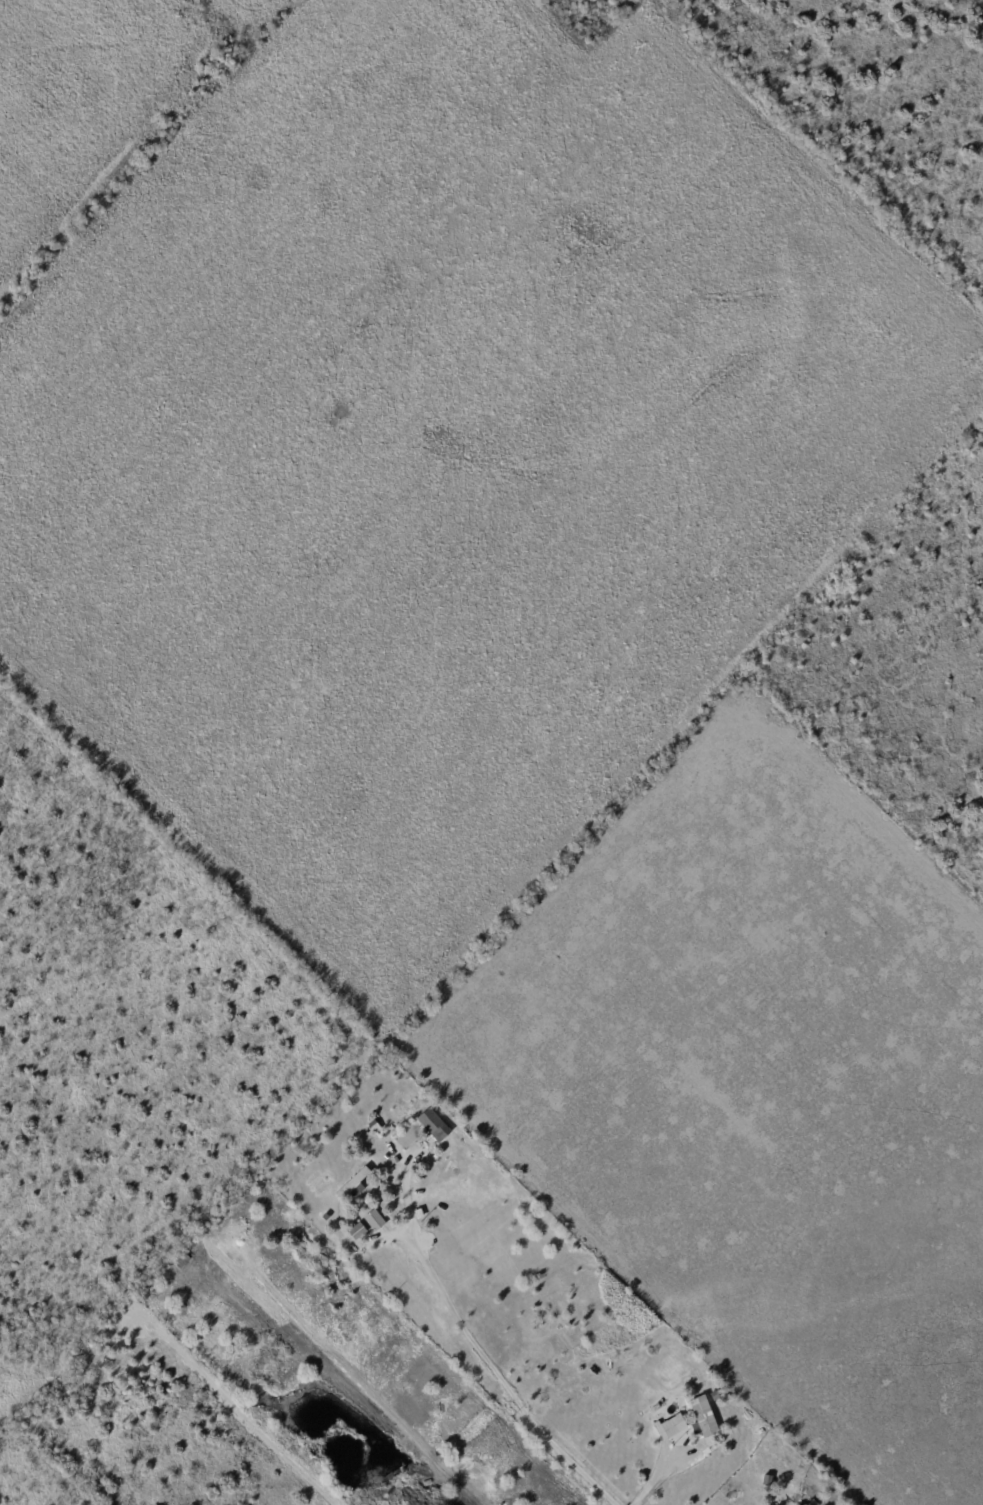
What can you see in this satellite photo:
building: (433, 1125)
building: (477, 1150)
building: (353, 1185)
building: (418, 1214)
building: (374, 1220)
building: (359, 1231)
building: (182, 1261)
building: (144, 1295)
road: (480, 1352)
building: (714, 1395)
road: (246, 1409)
building: (699, 1420)
building: (671, 1427)
building: (782, 1477)
building: (767, 1481)
building: (793, 1495)

